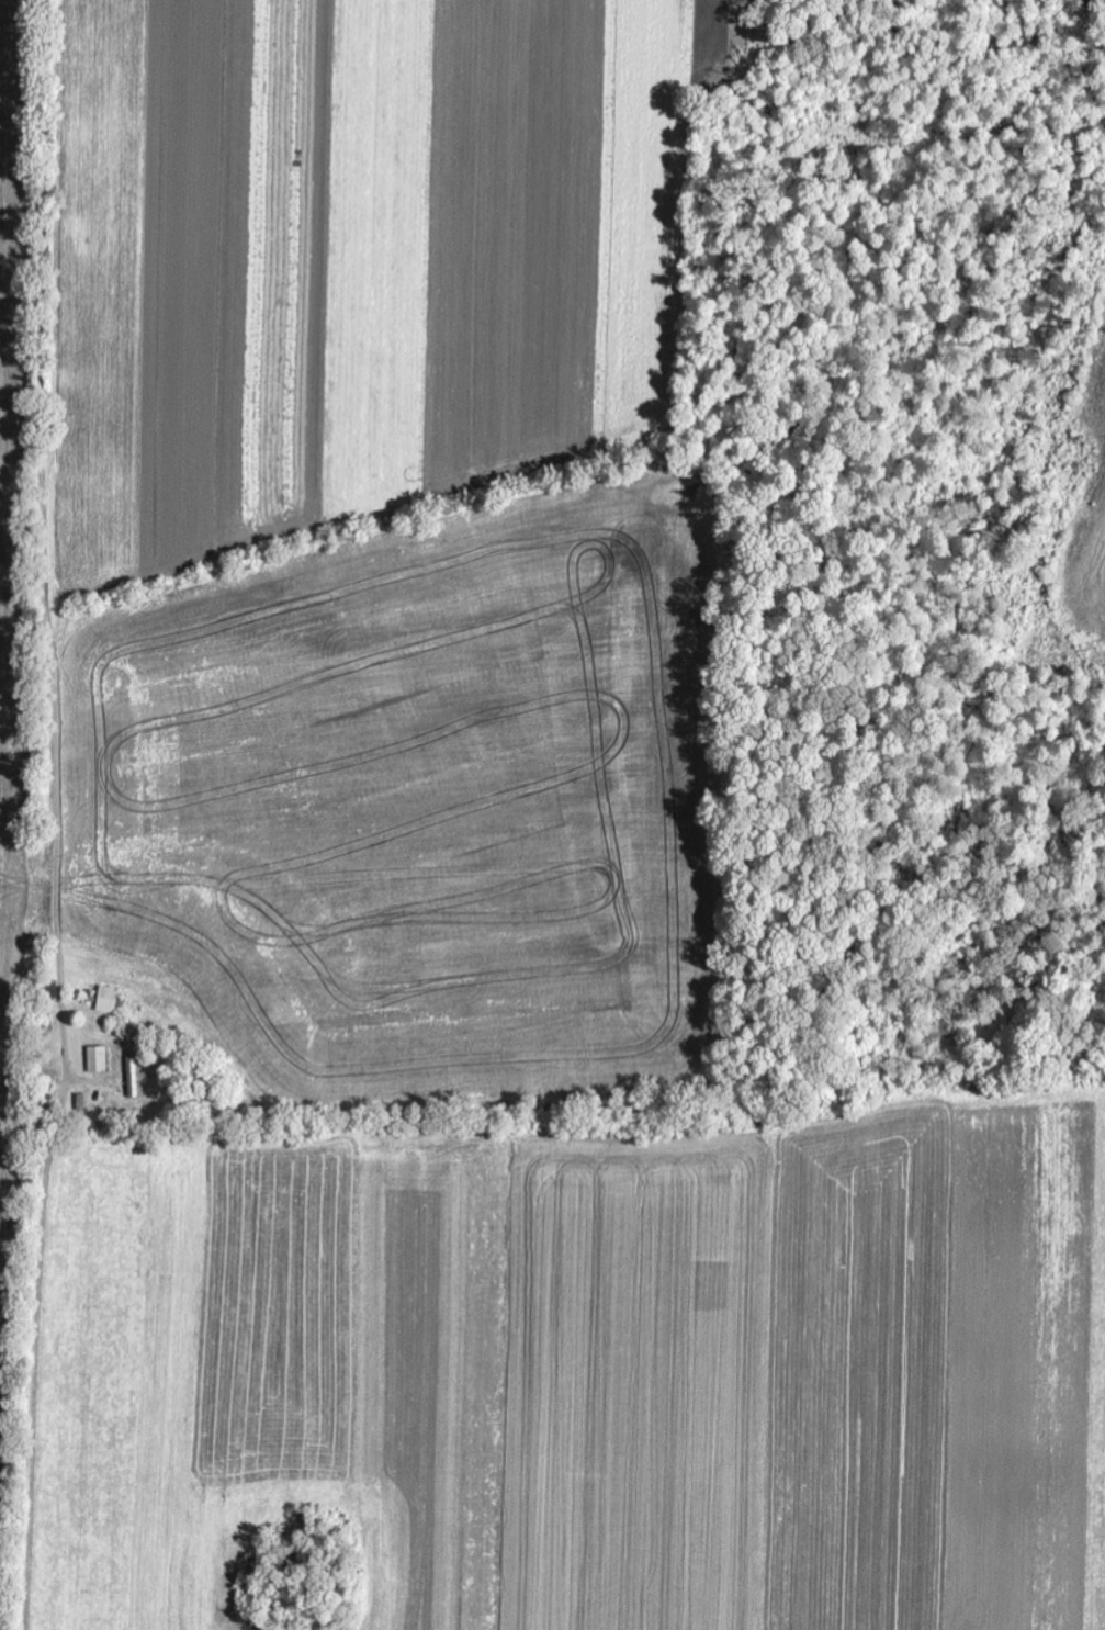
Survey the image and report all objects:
building: (106, 1000)
building: (97, 1059)

